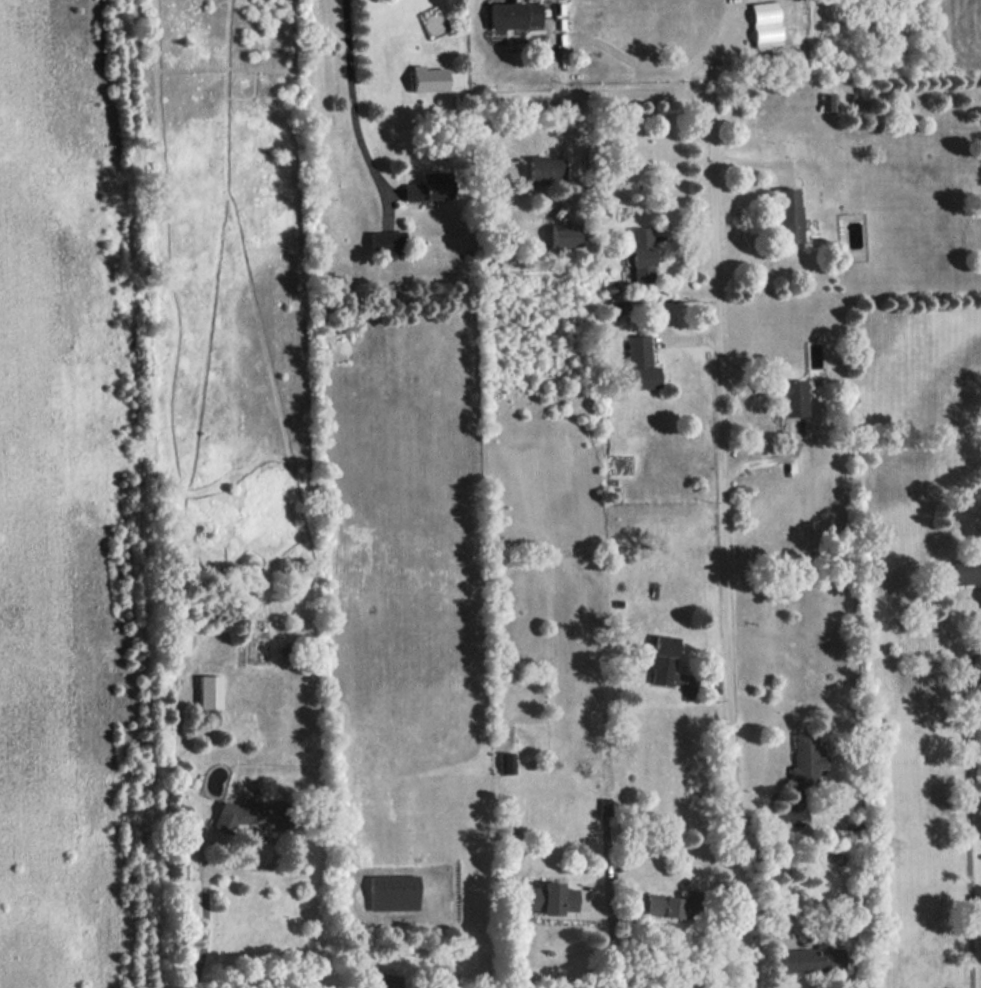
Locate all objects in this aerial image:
building: (515, 14)
building: (765, 23)
building: (428, 78)
road: (351, 95)
building: (831, 101)
building: (544, 168)
building: (428, 185)
building: (787, 214)
building: (565, 235)
building: (386, 241)
building: (640, 254)
building: (639, 362)
building: (793, 397)
road: (720, 465)
building: (965, 570)
building: (179, 643)
building: (661, 659)
building: (209, 691)
building: (805, 759)
building: (507, 762)
road: (969, 809)
building: (244, 813)
building: (392, 891)
building: (550, 897)
road: (205, 903)
building: (665, 905)
building: (812, 958)
road: (630, 961)
road: (613, 967)

